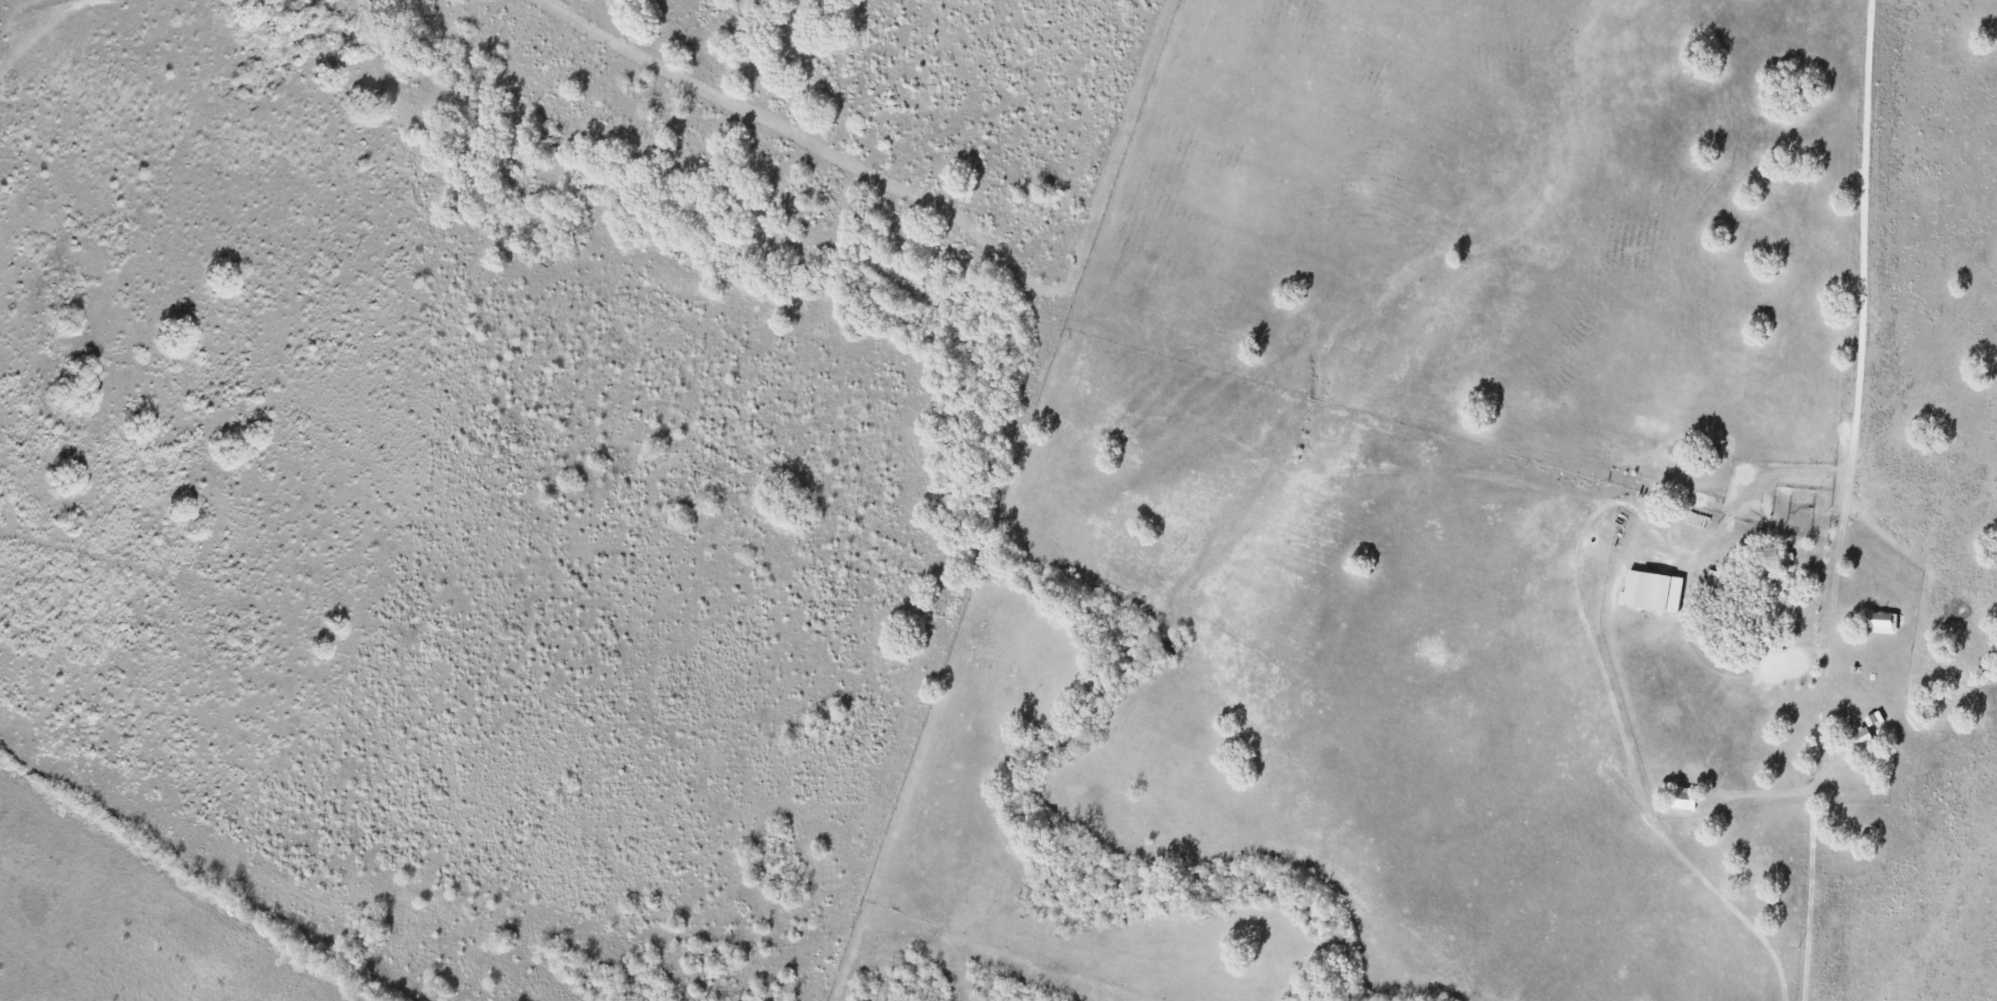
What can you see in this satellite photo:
road: (1862, 232)
building: (1783, 558)
building: (1650, 590)

